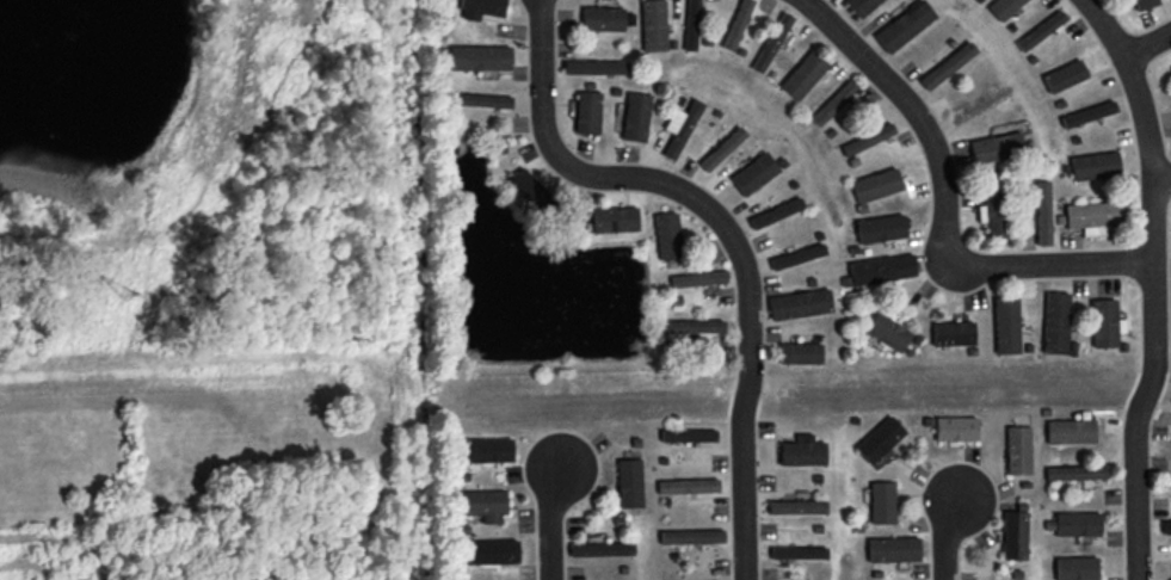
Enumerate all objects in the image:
building: (1145, 4)
building: (861, 6)
building: (1004, 7)
building: (481, 8)
building: (603, 18)
building: (691, 24)
building: (737, 24)
building: (653, 25)
building: (905, 25)
building: (1041, 30)
building: (772, 42)
road: (1148, 47)
building: (480, 57)
building: (948, 64)
building: (594, 67)
building: (803, 74)
building: (1065, 75)
building: (483, 99)
building: (834, 103)
building: (587, 112)
building: (1089, 113)
building: (635, 116)
building: (680, 127)
building: (868, 138)
building: (997, 147)
building: (722, 148)
building: (1095, 165)
building: (754, 173)
building: (876, 184)
road: (1164, 186)
building: (529, 187)
road: (945, 206)
building: (776, 212)
building: (1043, 212)
building: (991, 215)
building: (1092, 216)
building: (615, 218)
building: (881, 228)
road: (725, 230)
building: (667, 234)
building: (797, 255)
building: (882, 269)
building: (698, 278)
road: (1157, 282)
power tower: (125, 302)
building: (800, 303)
building: (1055, 322)
building: (1105, 322)
building: (1006, 325)
building: (695, 327)
building: (887, 331)
building: (953, 333)
building: (800, 353)
building: (956, 428)
building: (1071, 431)
building: (688, 434)
building: (880, 438)
building: (487, 450)
building: (802, 450)
building: (1018, 450)
building: (1077, 471)
building: (629, 482)
building: (688, 486)
building: (882, 501)
building: (485, 504)
building: (797, 506)
building: (1078, 523)
road: (548, 524)
building: (1166, 526)
building: (1015, 535)
building: (691, 536)
road: (943, 539)
building: (602, 548)
building: (893, 549)
building: (489, 551)
building: (799, 553)
building: (1077, 568)

